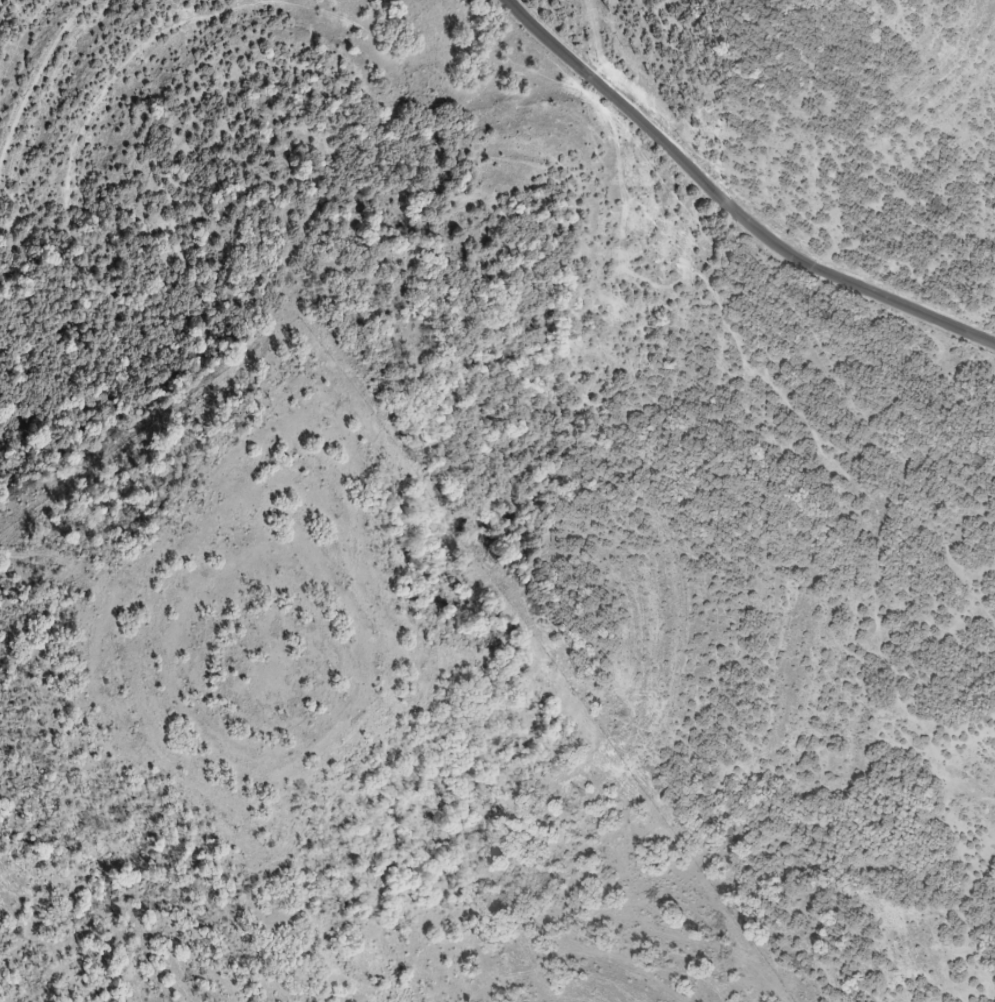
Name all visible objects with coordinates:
road: (726, 206)

